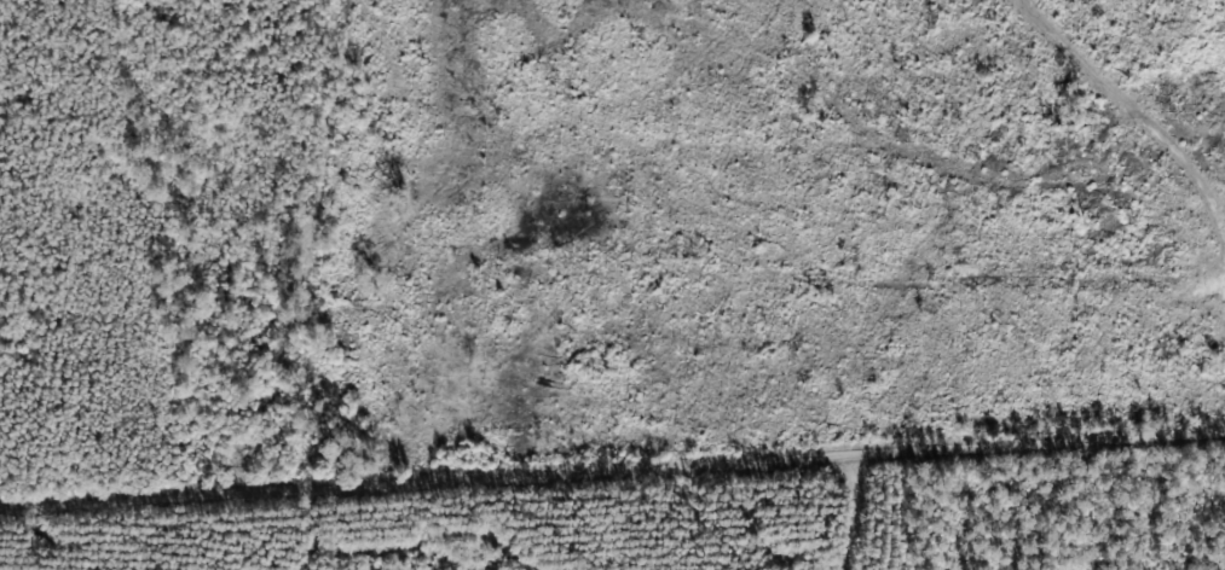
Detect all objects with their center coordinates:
road: (612, 473)

